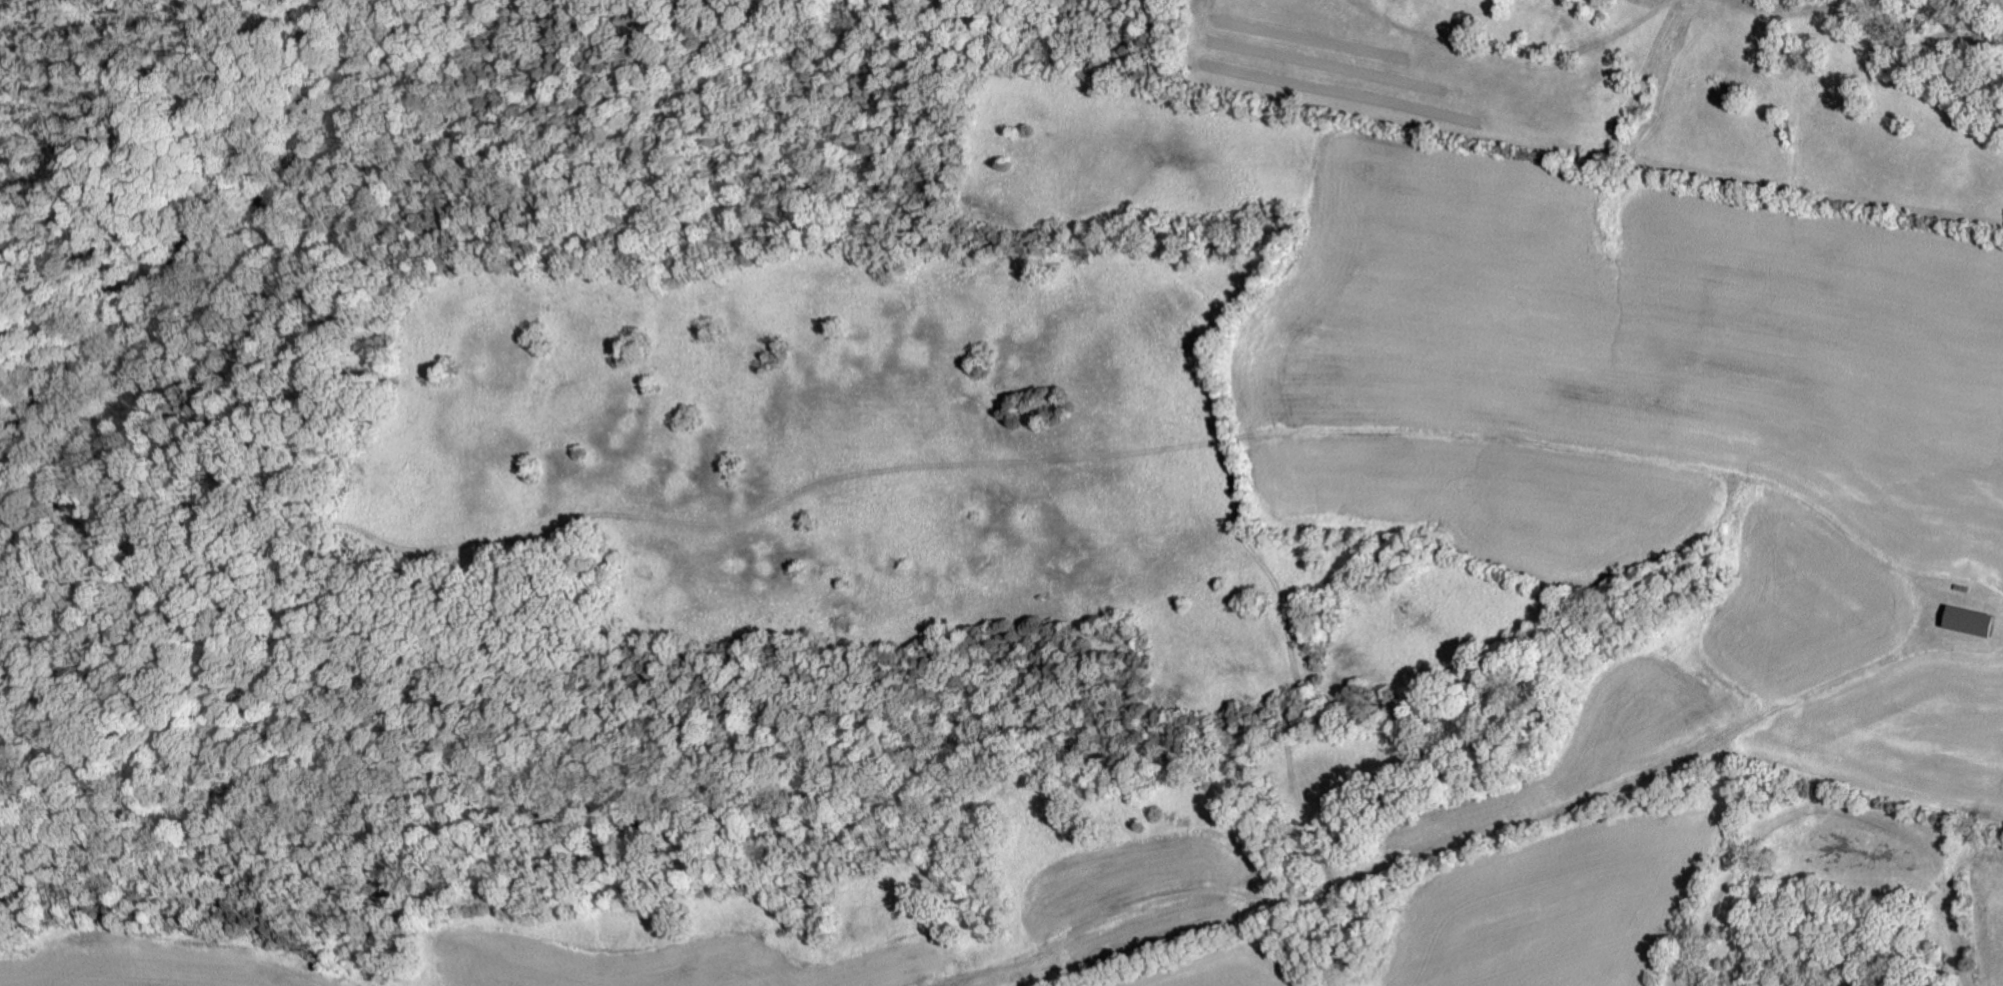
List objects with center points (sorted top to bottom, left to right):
building: (1967, 620)

